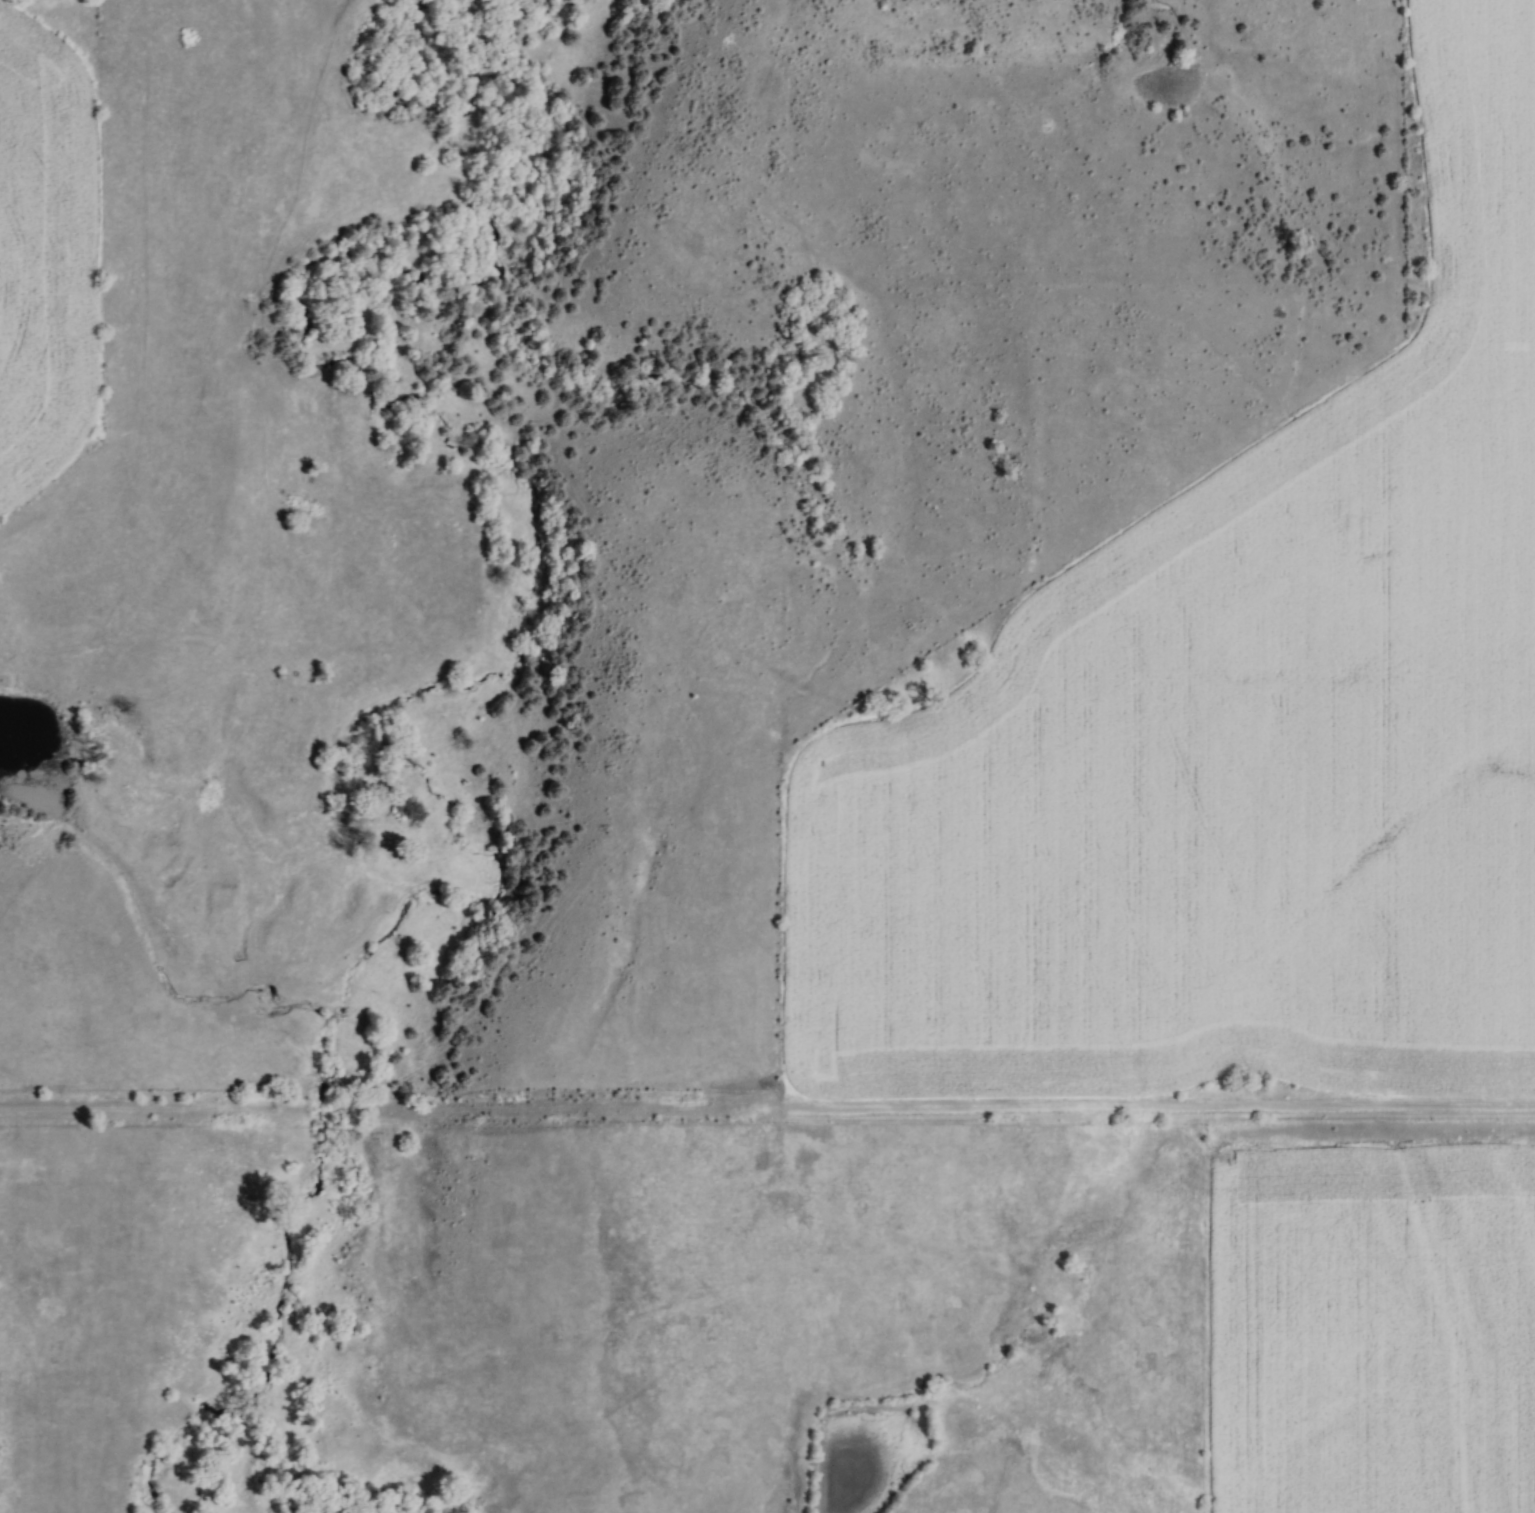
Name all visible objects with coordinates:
road: (767, 1103)

